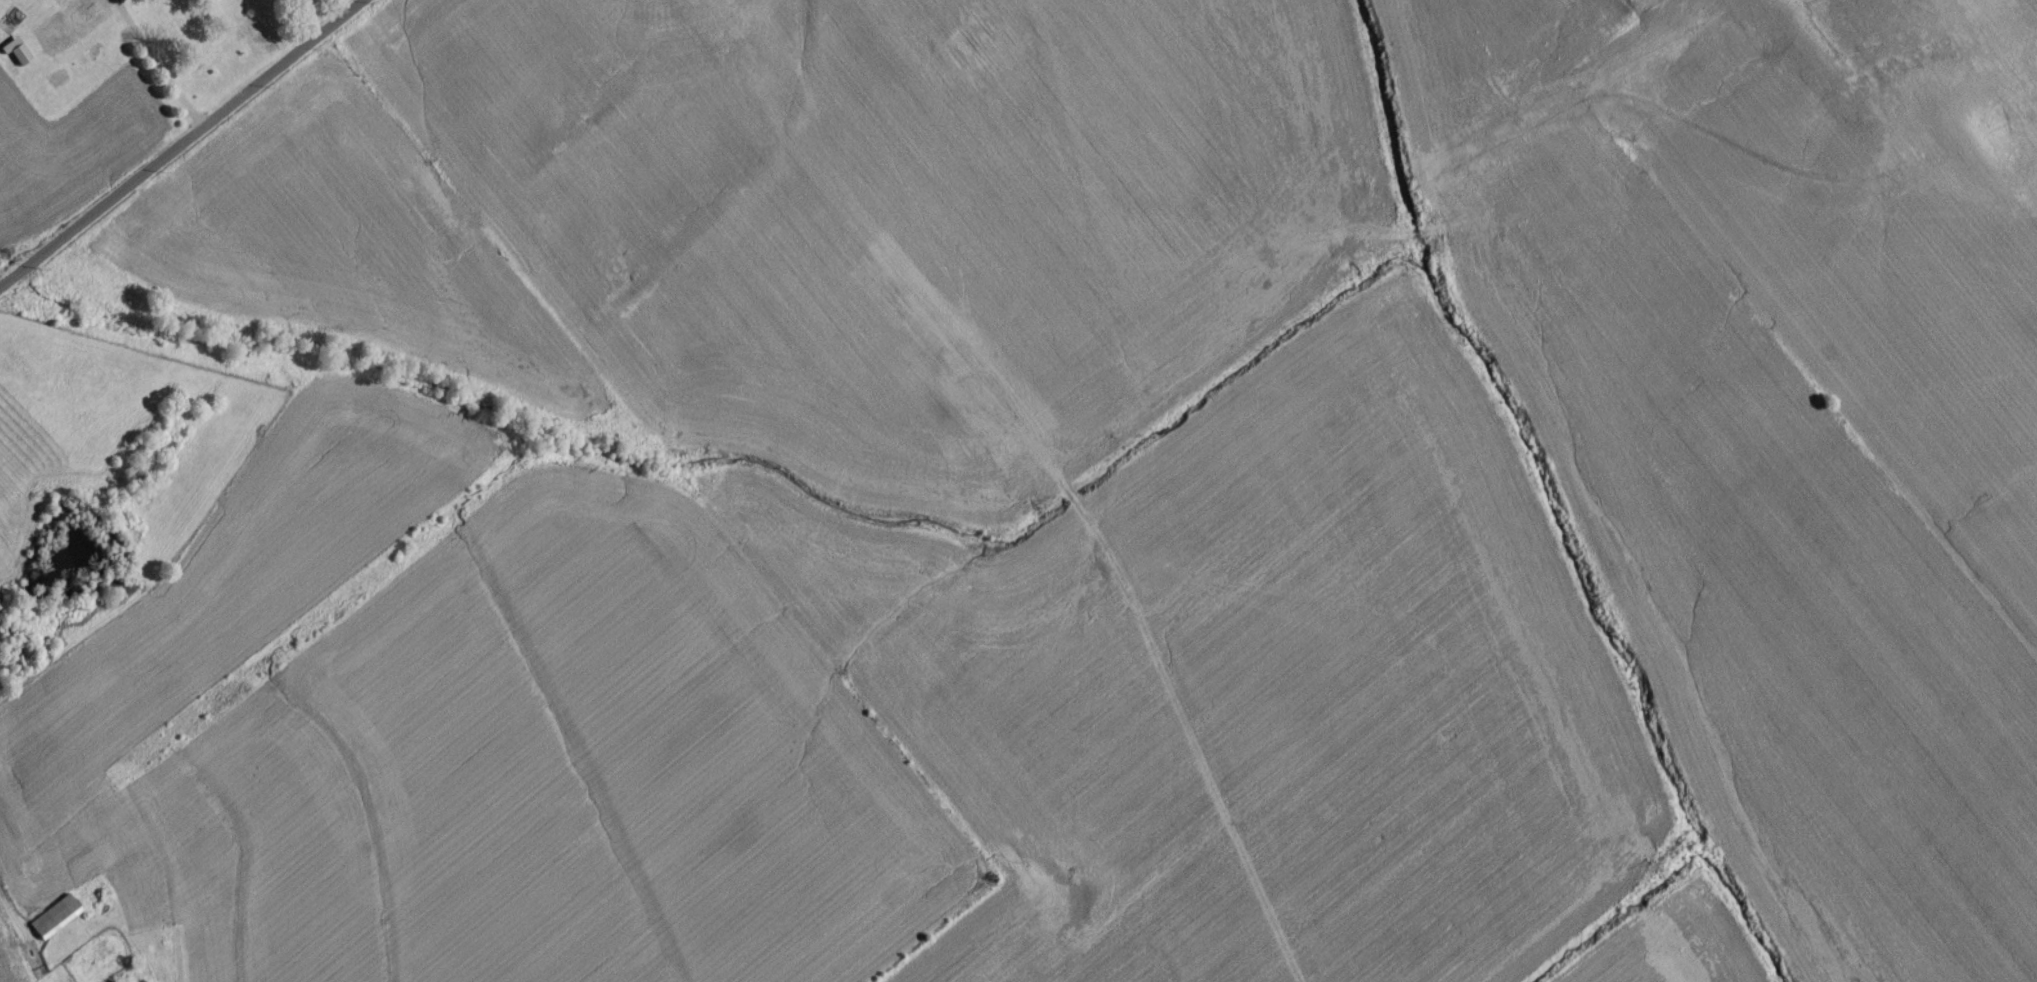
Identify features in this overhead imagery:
building: (40, 1)
building: (703, 3)
road: (308, 19)
building: (71, 29)
building: (16, 58)
road: (159, 64)
road: (182, 145)
building: (53, 923)

